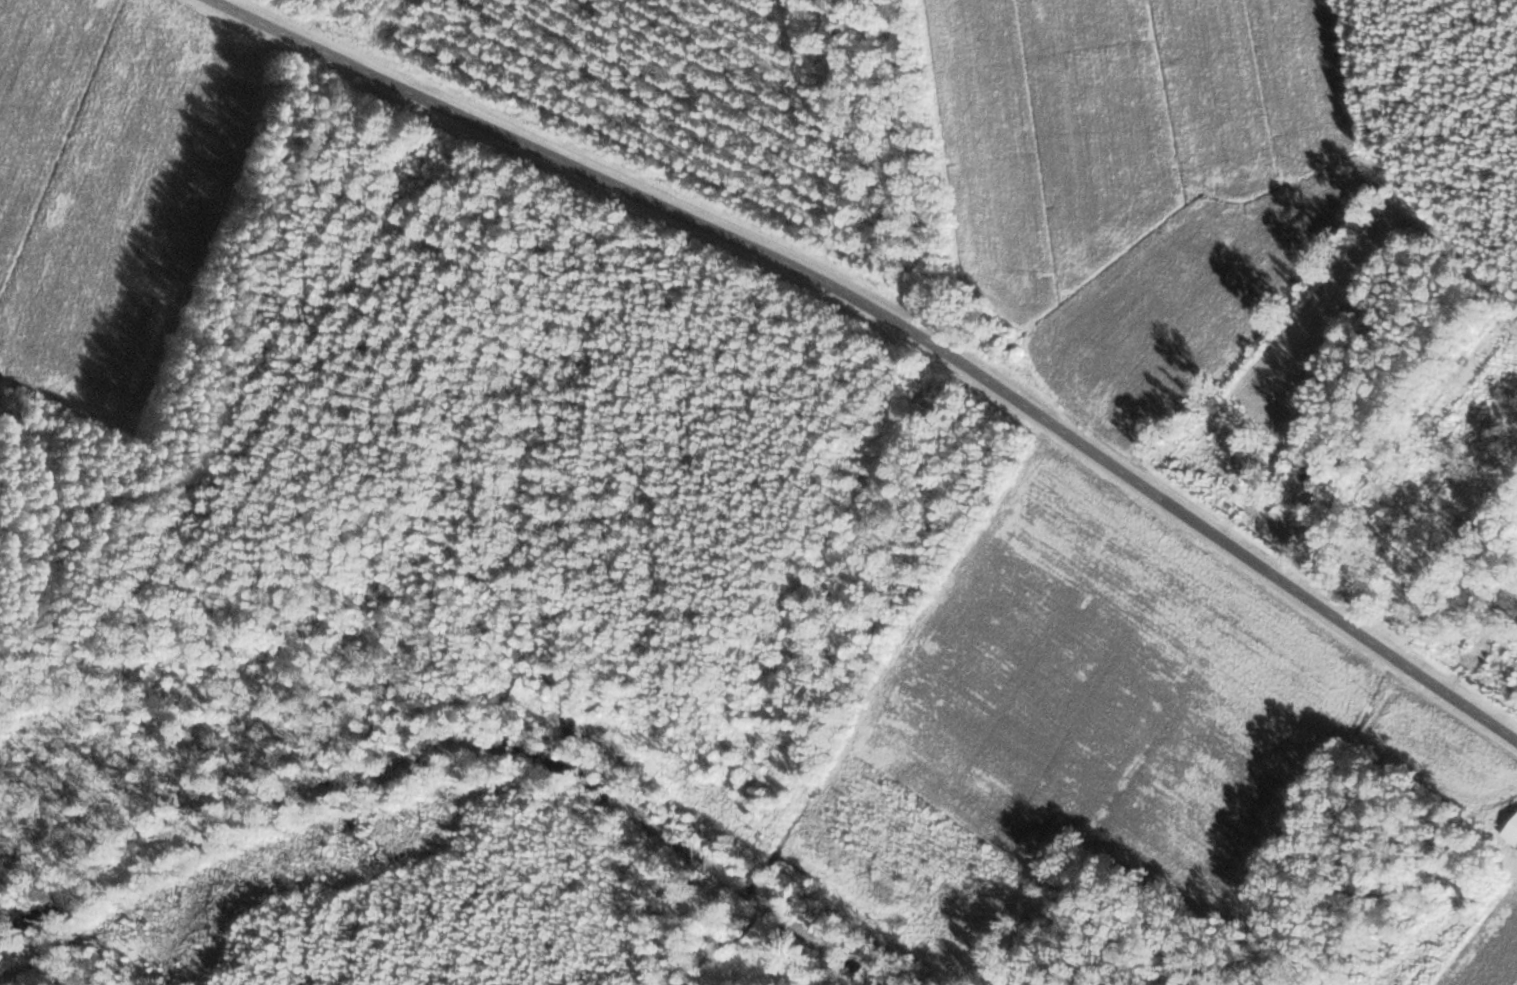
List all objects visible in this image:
road: (893, 320)
building: (1510, 594)
building: (1512, 832)

